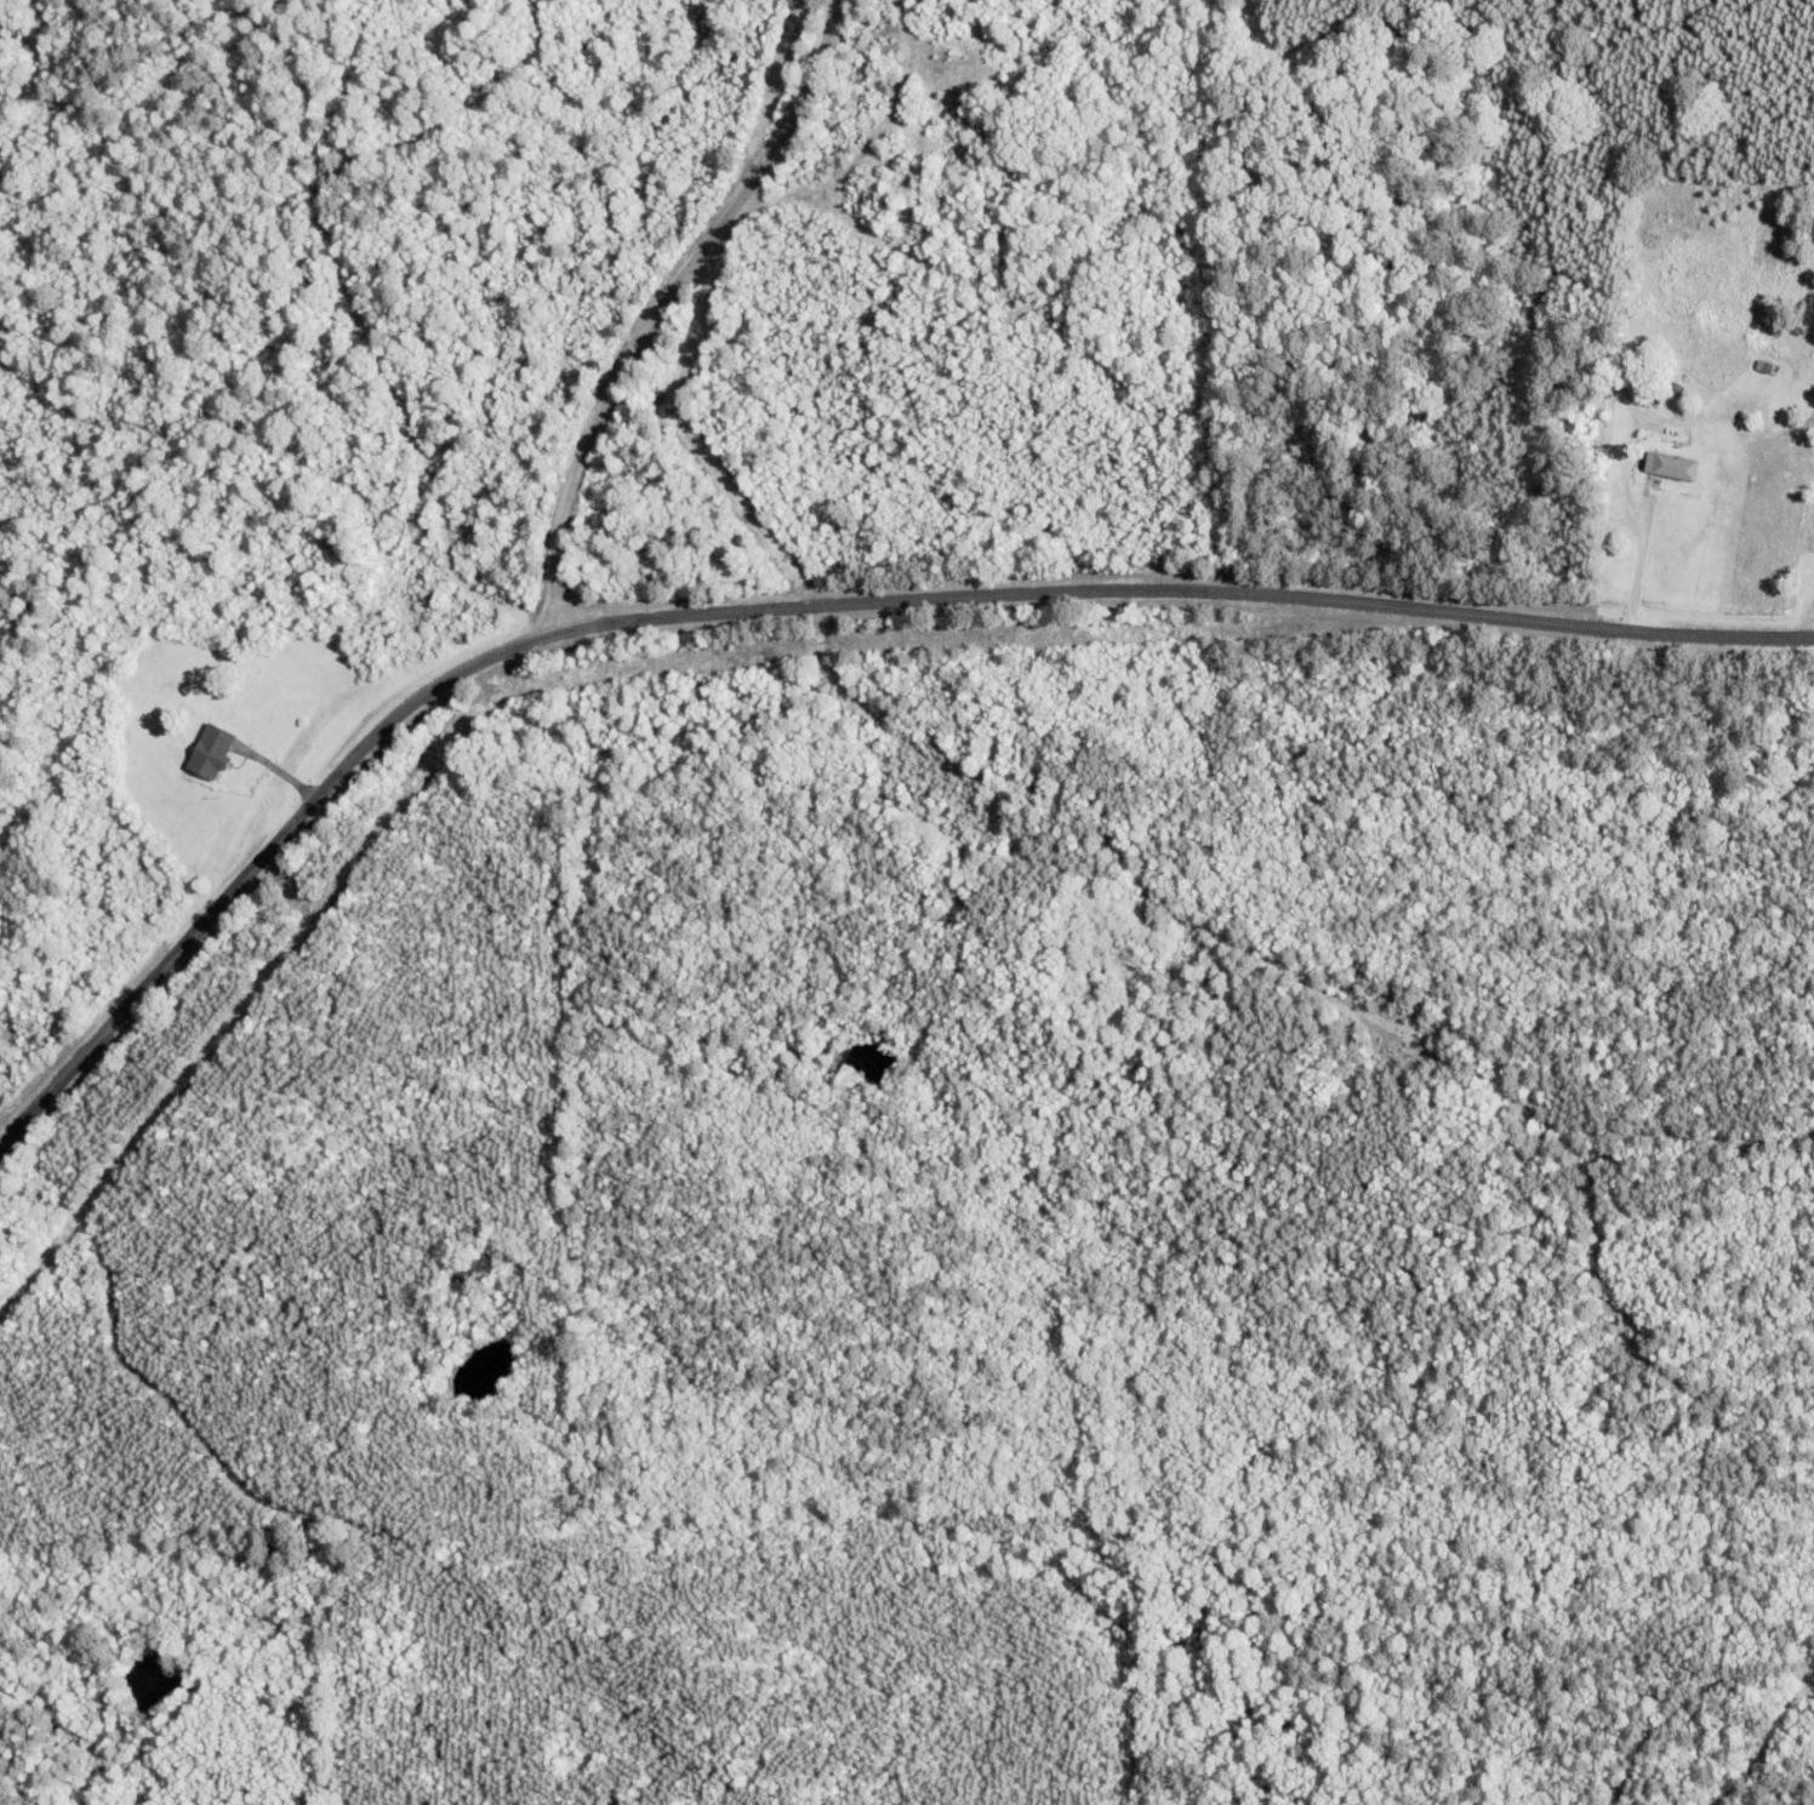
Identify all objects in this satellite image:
road: (661, 301)
building: (1667, 465)
road: (802, 604)
building: (209, 746)

